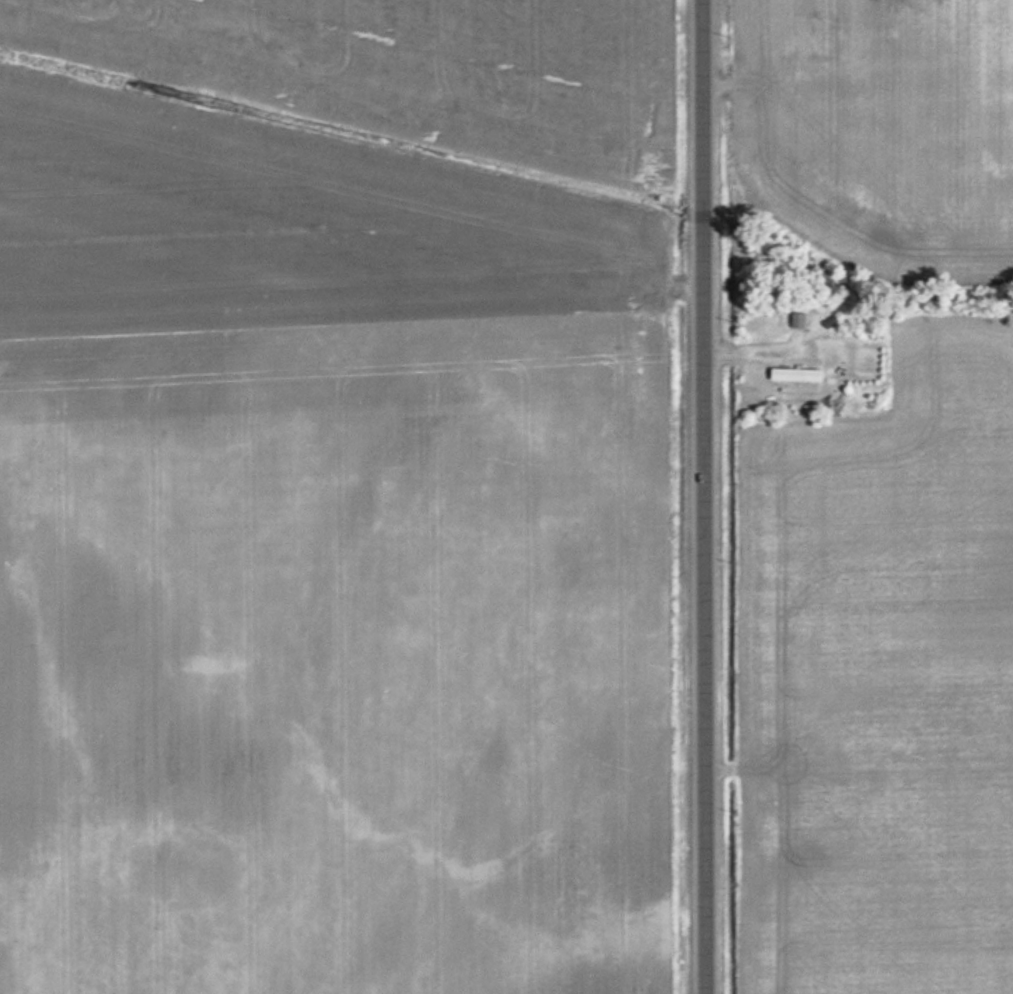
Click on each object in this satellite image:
building: (794, 375)
road: (705, 496)

